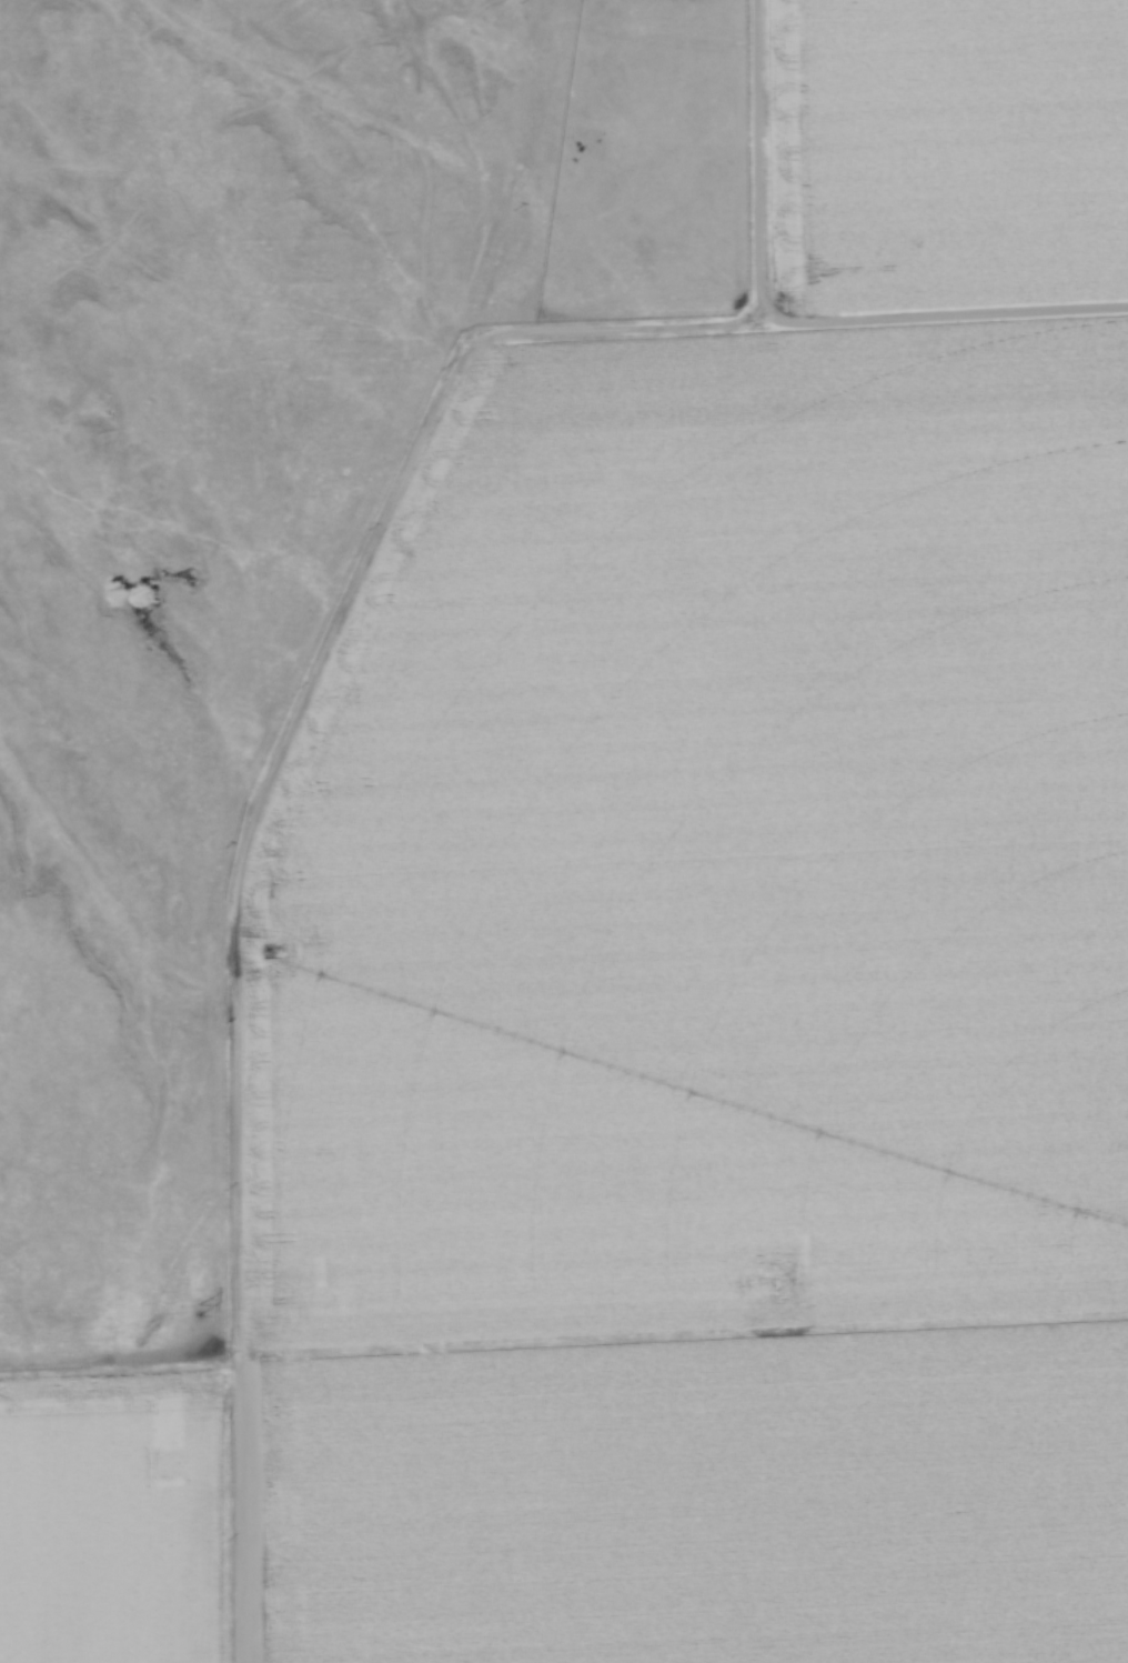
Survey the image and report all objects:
road: (792, 323)
power tower: (777, 1286)
power tower: (199, 1312)

